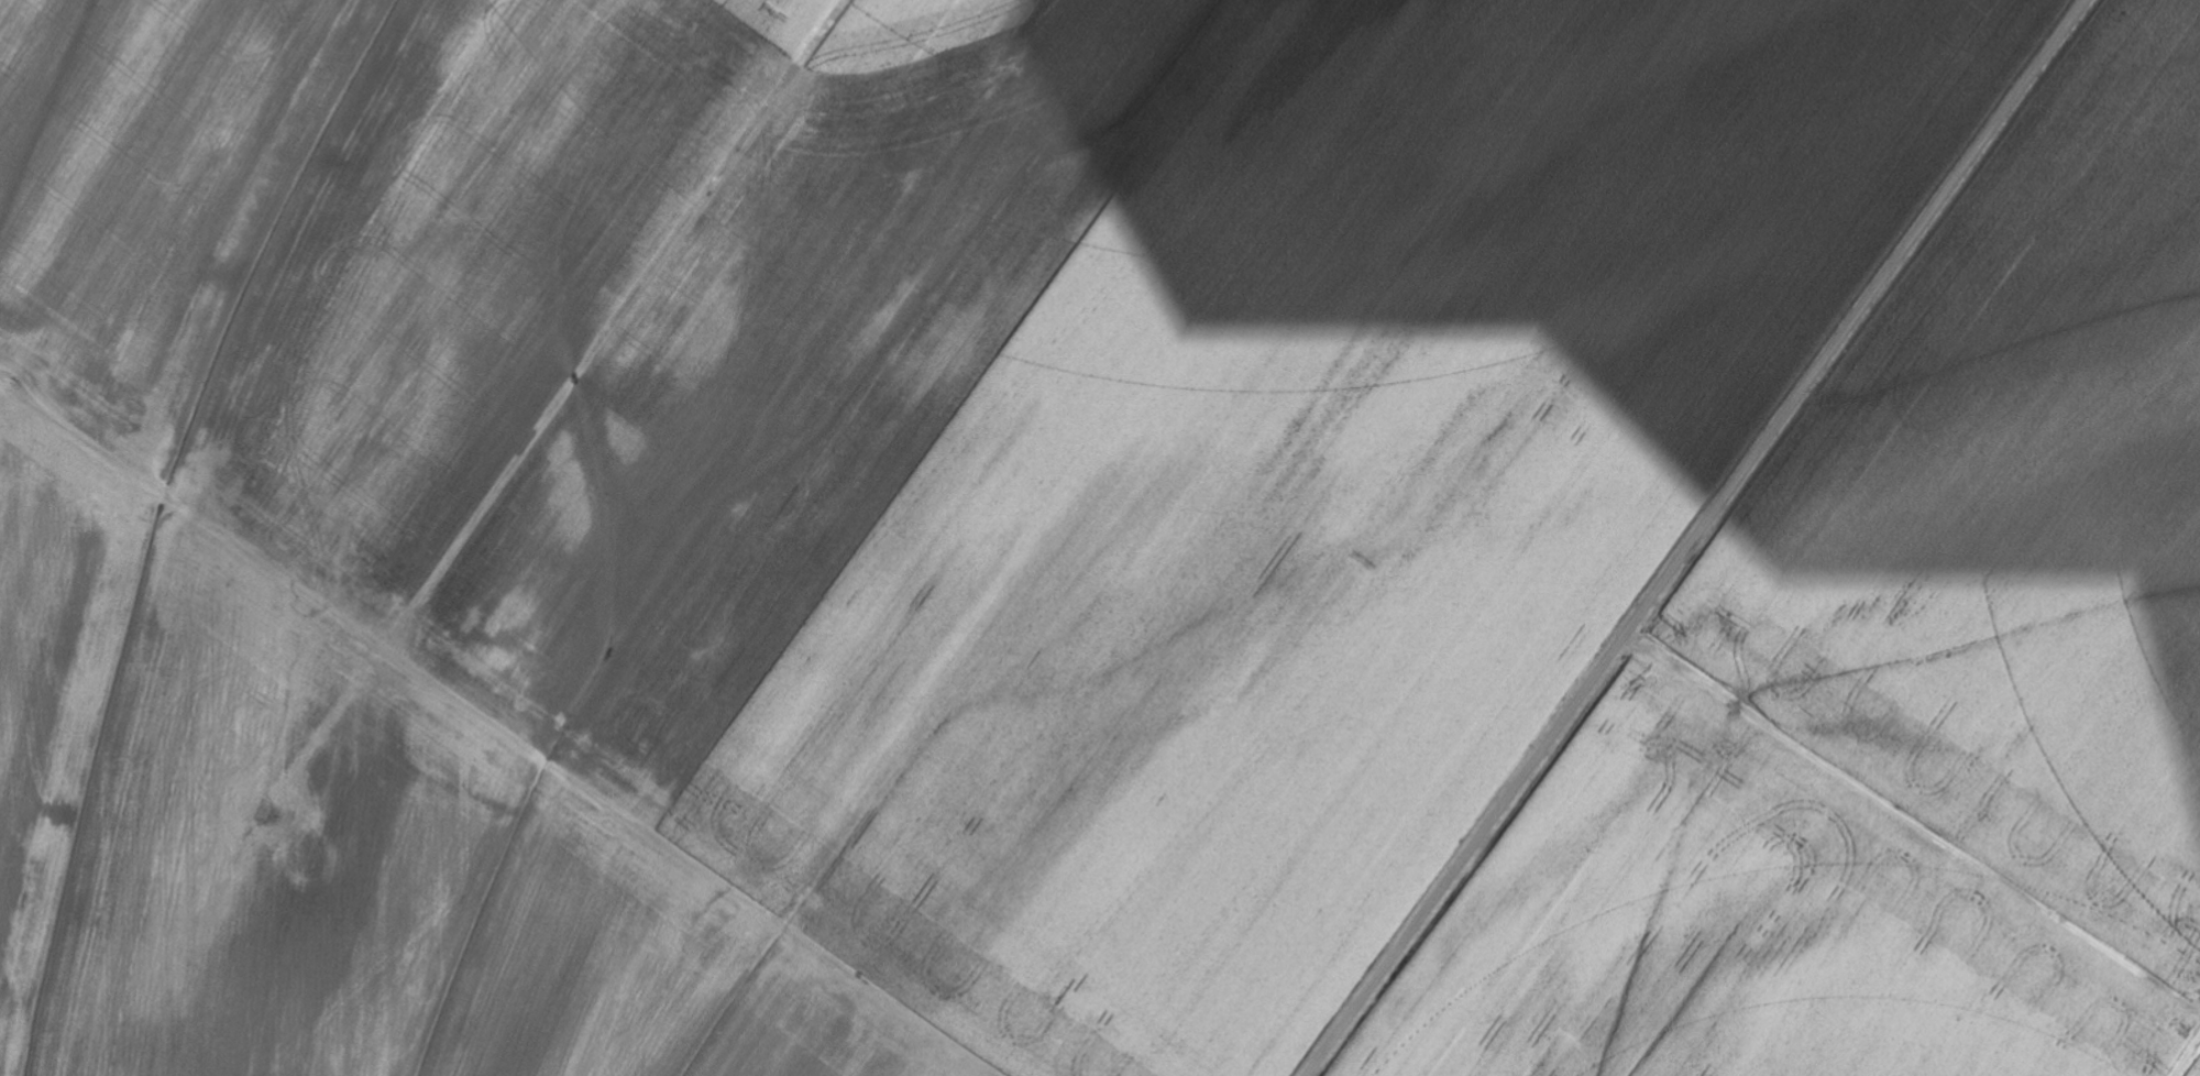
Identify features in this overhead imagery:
road: (1694, 537)
road: (1894, 812)

